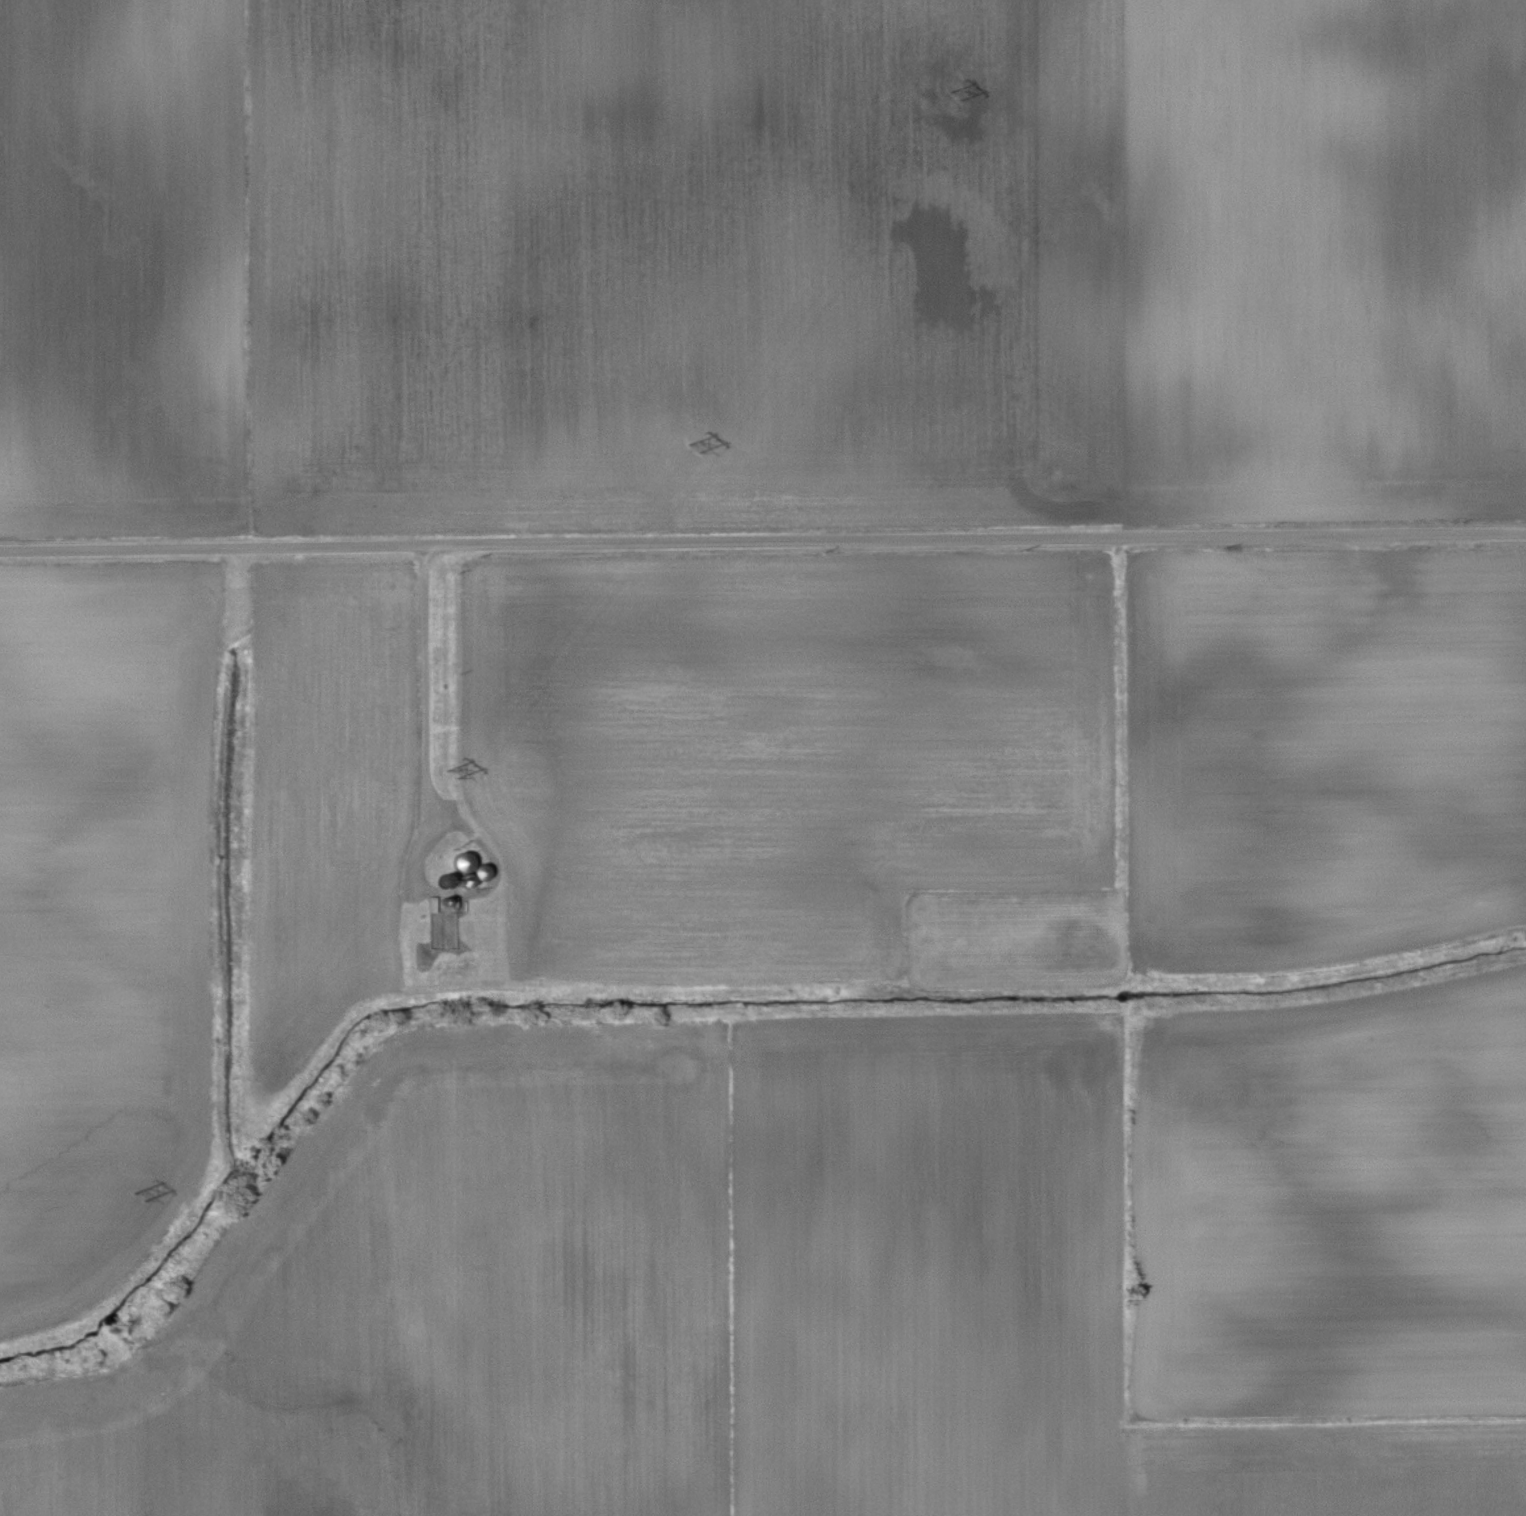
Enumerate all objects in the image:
power tower: (952, 94)
power tower: (693, 449)
road: (762, 541)
road: (422, 685)
power tower: (449, 774)
power tower: (141, 1198)

